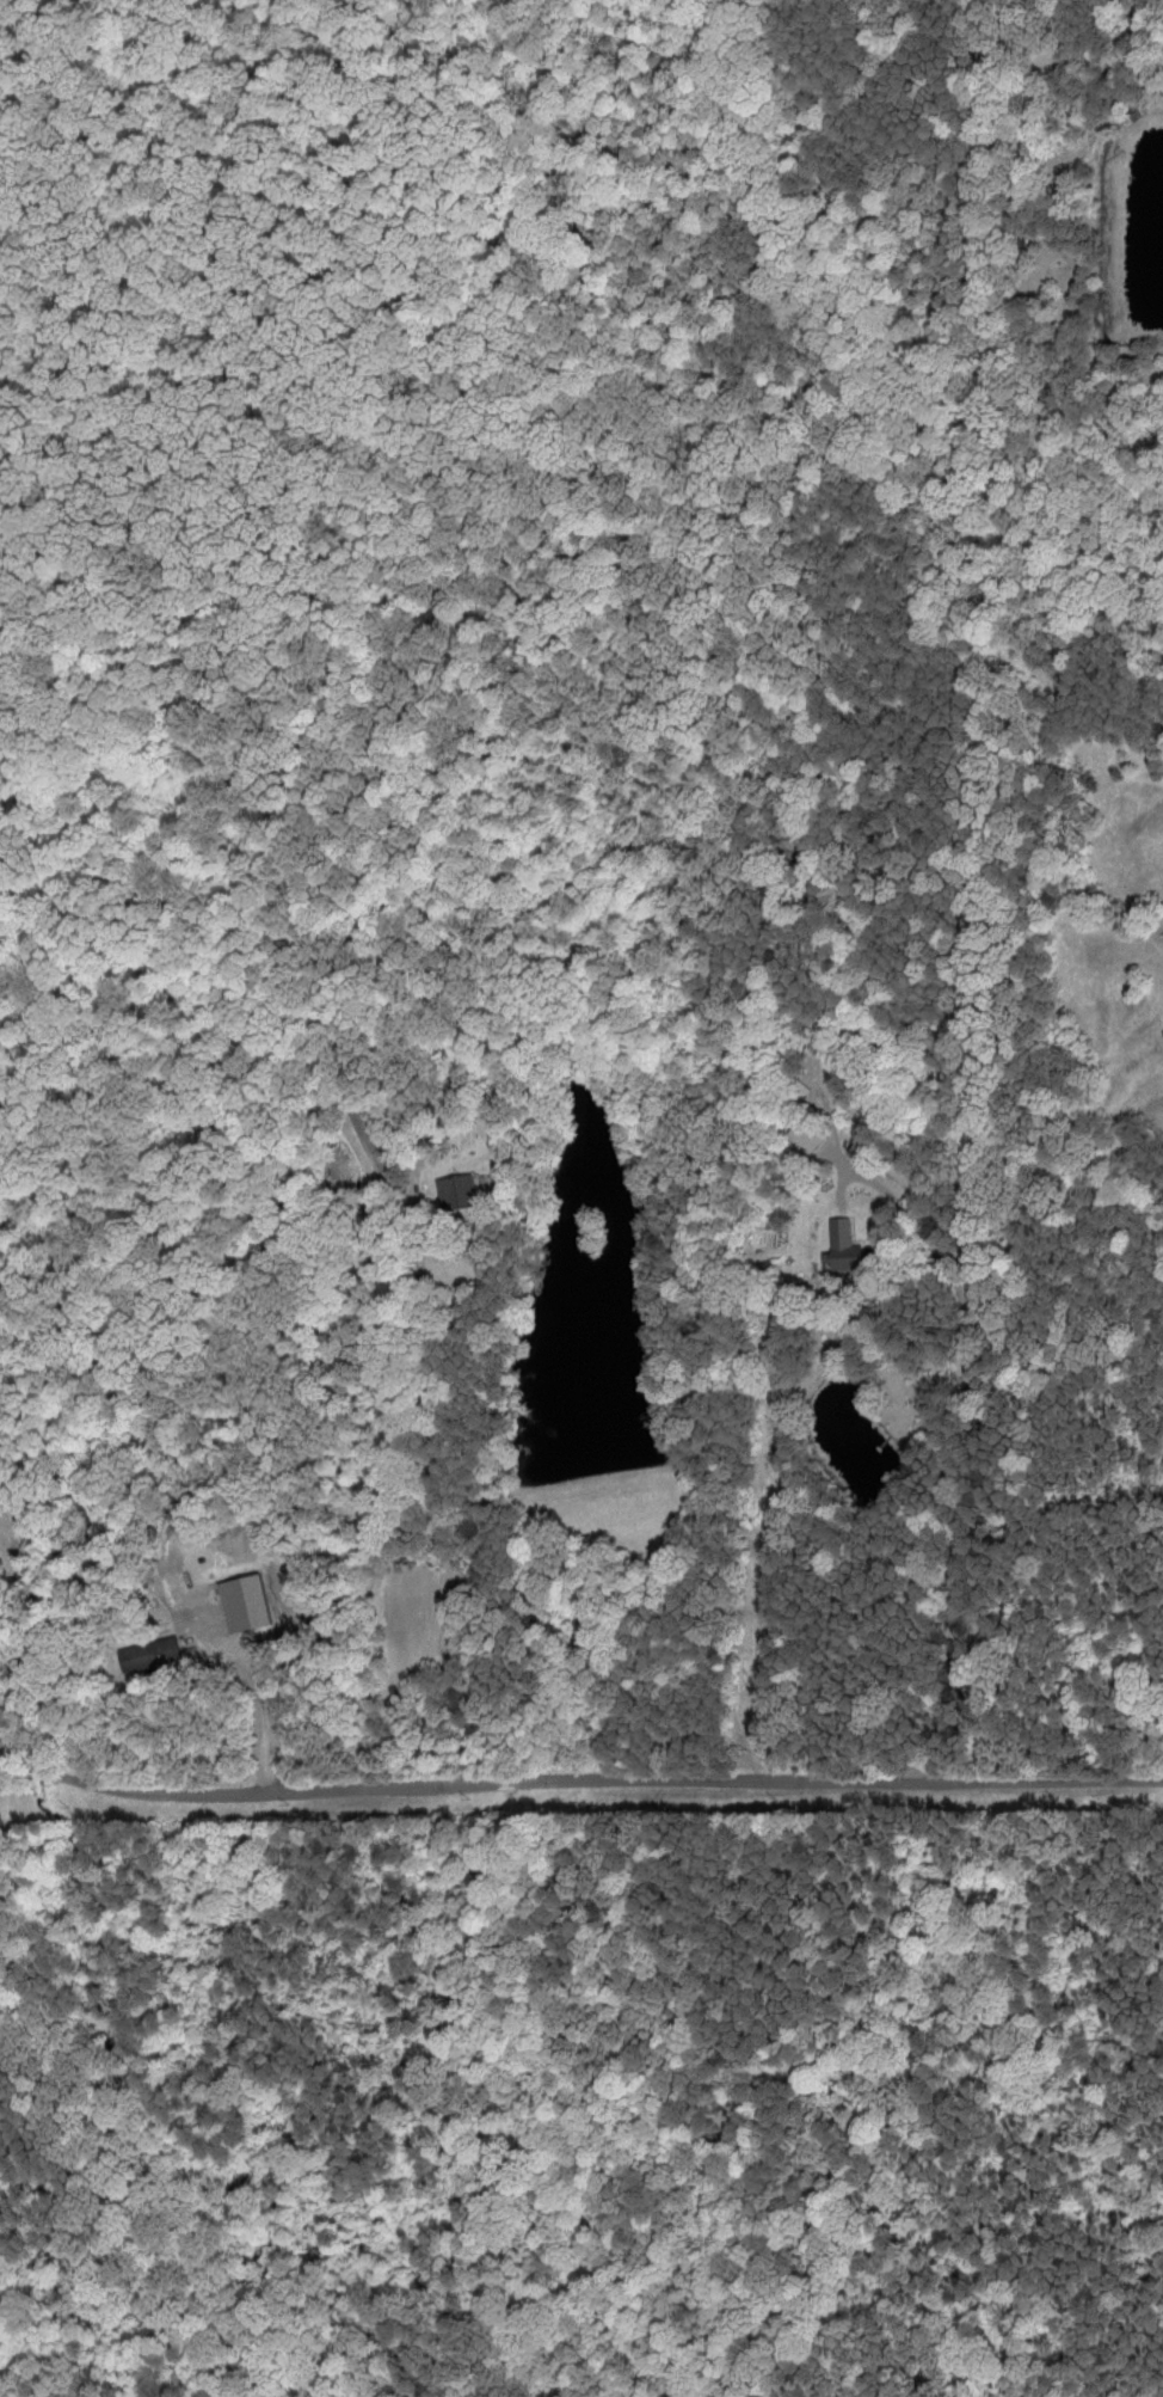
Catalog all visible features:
building: (455, 1190)
building: (841, 1245)
building: (148, 1651)
road: (581, 1786)

